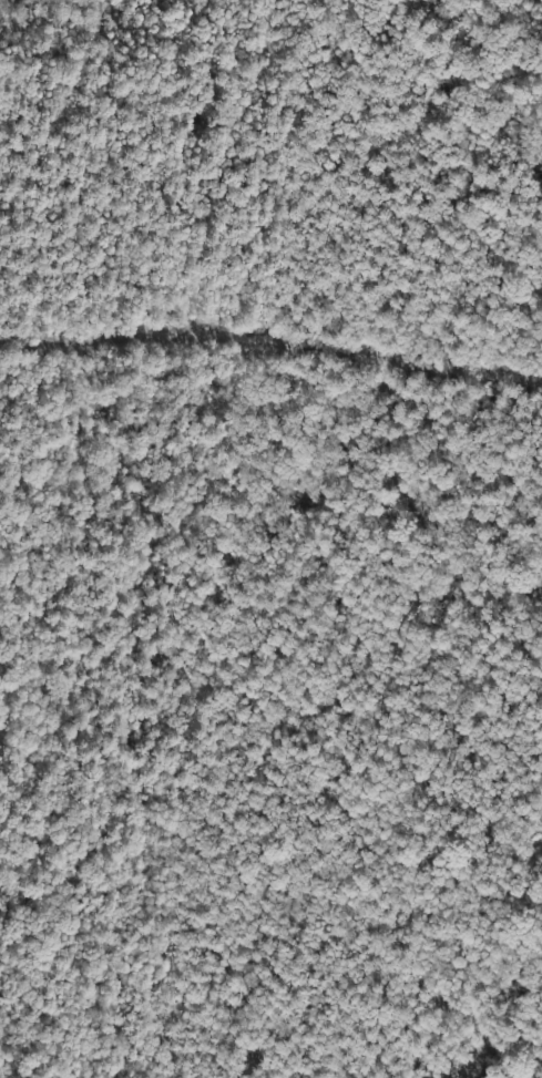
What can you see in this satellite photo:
road: (272, 347)

